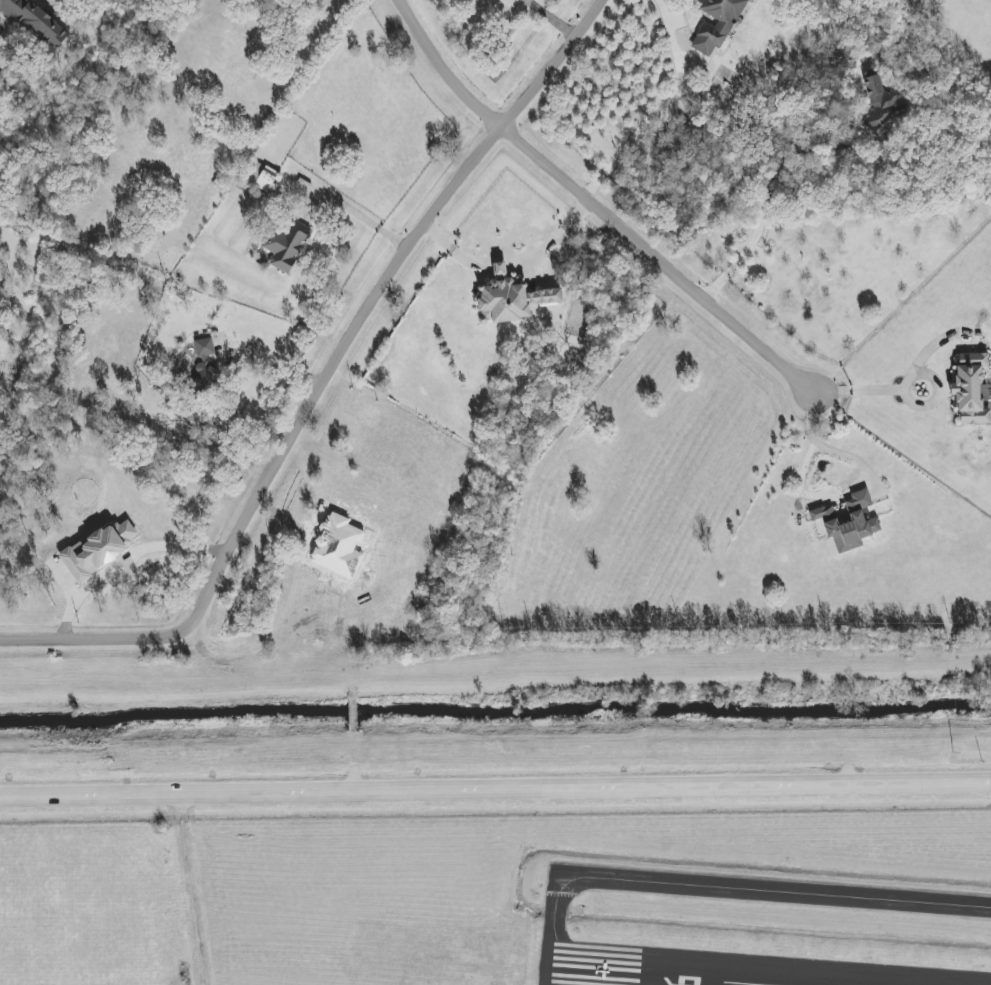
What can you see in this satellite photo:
road: (550, 17)
building: (35, 22)
building: (716, 24)
road: (441, 68)
building: (880, 99)
road: (664, 110)
building: (260, 175)
road: (779, 200)
road: (365, 218)
road: (558, 235)
building: (286, 245)
road: (450, 248)
road: (656, 259)
building: (499, 268)
building: (512, 300)
road: (363, 313)
building: (205, 364)
building: (971, 388)
road: (868, 391)
road: (828, 448)
building: (849, 522)
building: (98, 548)
road: (125, 561)
road: (79, 639)
road: (352, 711)
road: (495, 789)
road: (181, 805)
road: (194, 900)
airport: (502, 901)
airport taxiway: (542, 930)
airport runway: (743, 954)

